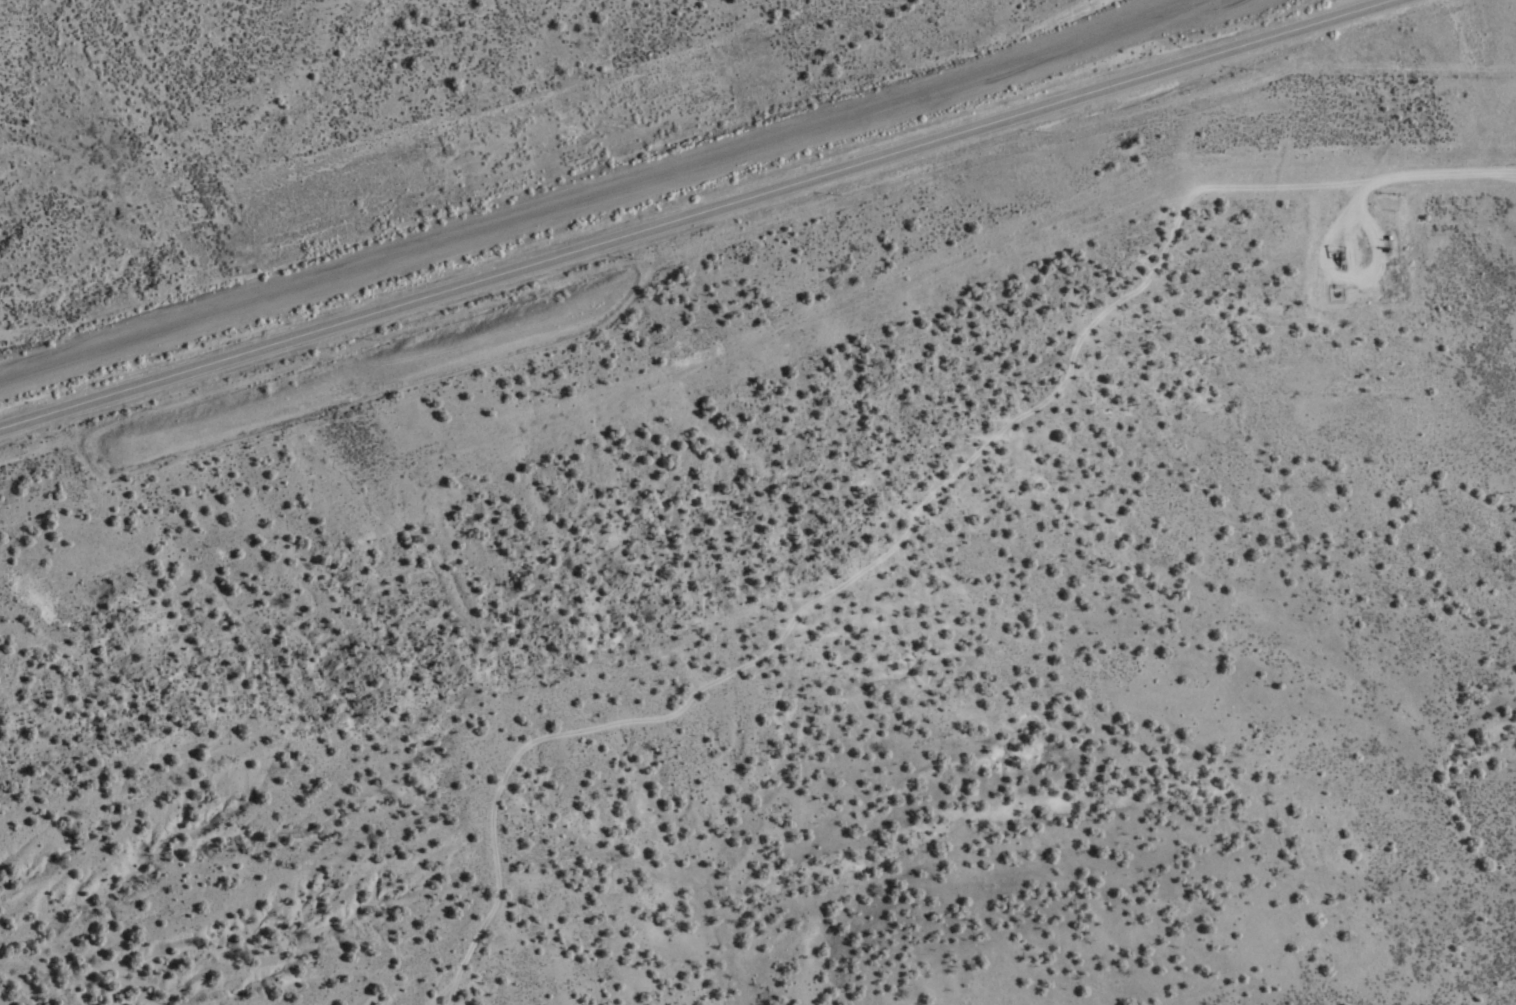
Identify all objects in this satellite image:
road: (590, 203)
road: (694, 215)

